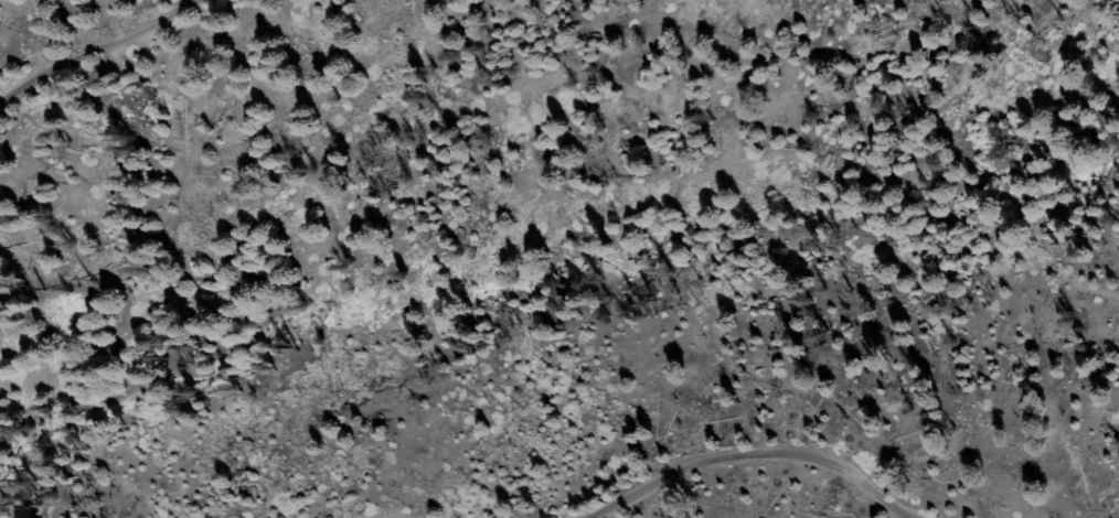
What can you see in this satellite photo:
road: (99, 53)
road: (755, 455)

